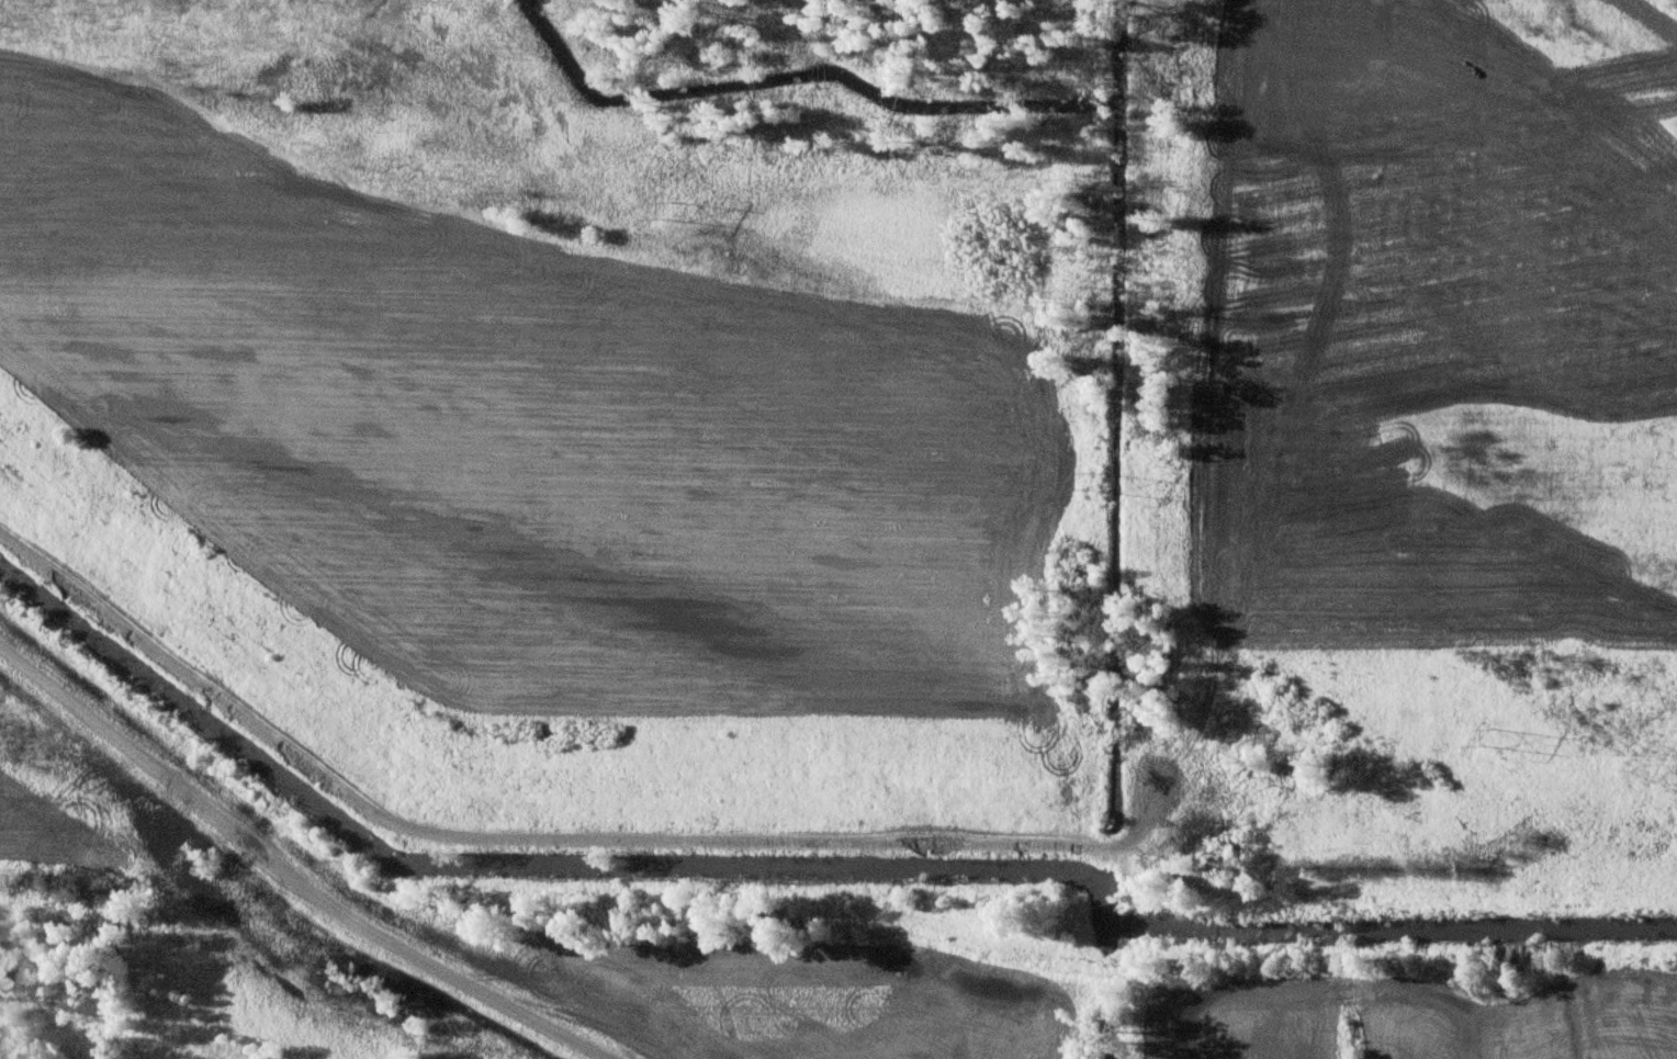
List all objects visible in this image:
power tower: (656, 202)
power tower: (1091, 473)
power tower: (1477, 736)
road: (788, 840)
road: (288, 875)
road: (1663, 902)

